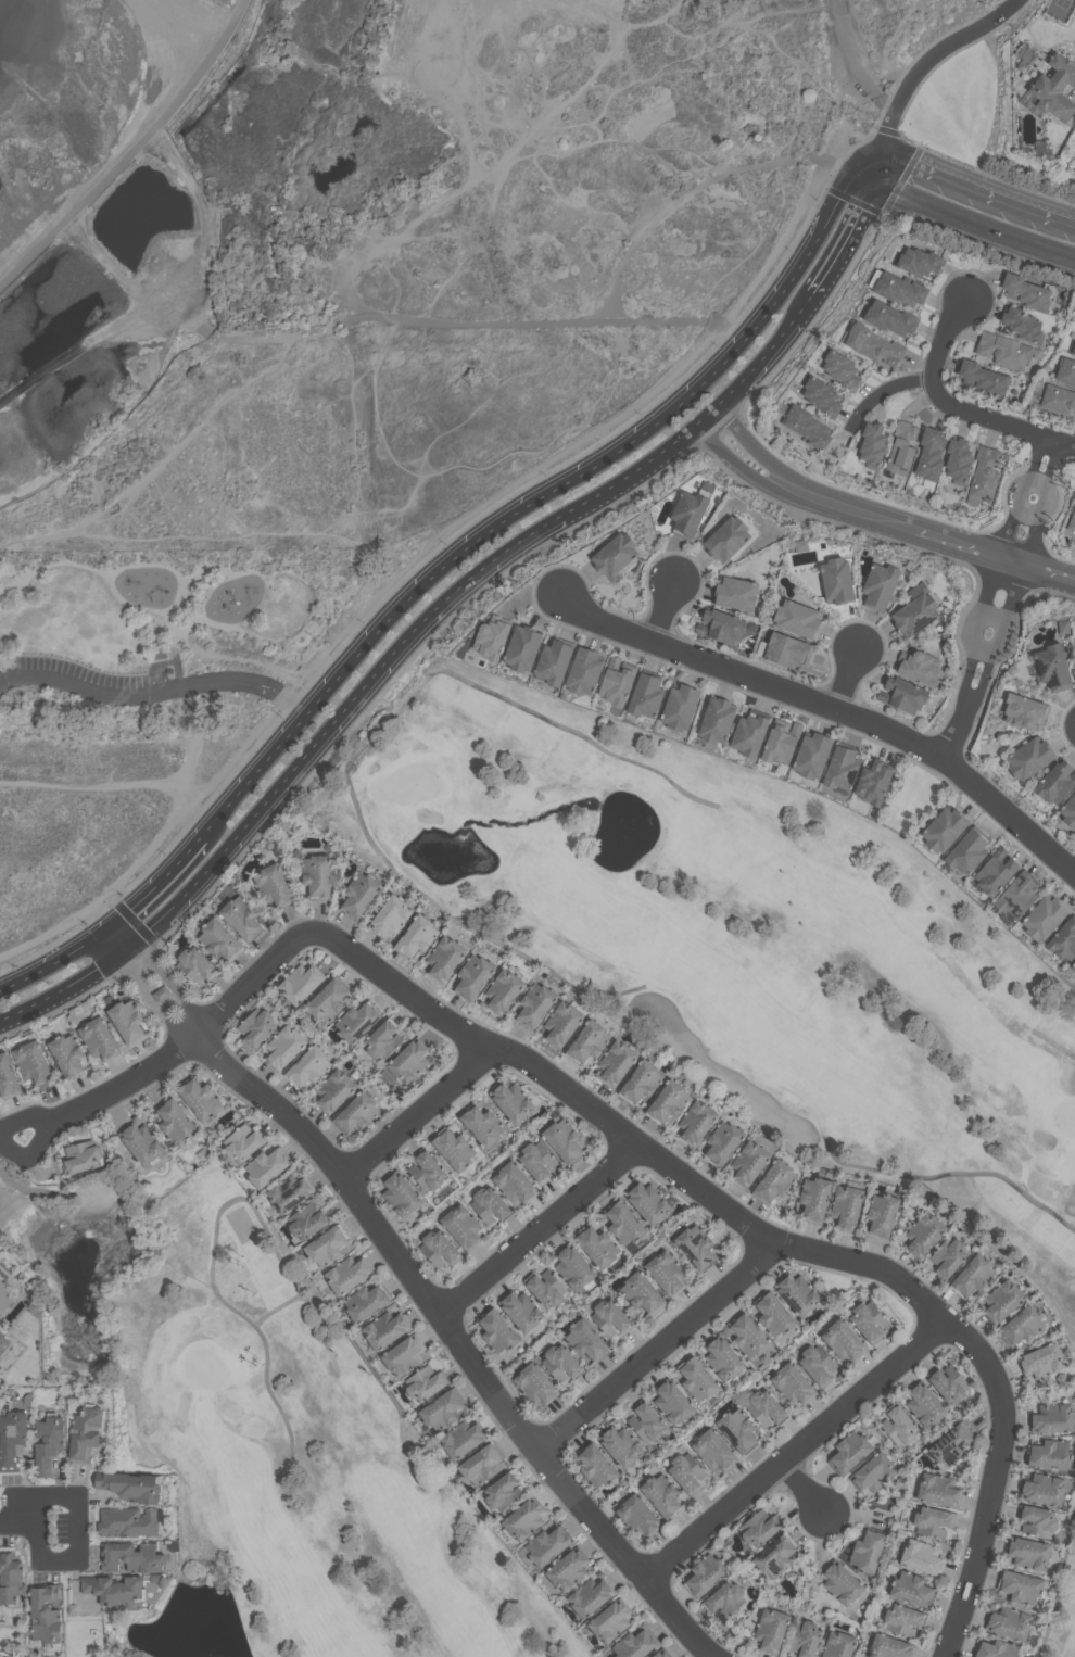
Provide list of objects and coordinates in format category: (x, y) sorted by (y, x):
road: (1012, 8)
road: (179, 27)
road: (233, 27)
road: (890, 46)
road: (923, 68)
road: (189, 90)
building: (1054, 90)
traffic signals: (883, 155)
road: (932, 169)
road: (1027, 206)
road: (79, 208)
road: (959, 218)
road: (850, 225)
building: (919, 261)
building: (900, 288)
building: (1030, 292)
building: (891, 317)
building: (1023, 325)
road: (945, 336)
building: (874, 344)
building: (1073, 345)
building: (1004, 350)
building: (843, 369)
building: (1066, 370)
building: (983, 377)
road: (886, 389)
building: (822, 396)
building: (1058, 397)
road: (998, 420)
building: (807, 426)
building: (873, 444)
building: (901, 445)
road: (1037, 452)
building: (931, 454)
road: (1052, 457)
building: (959, 458)
building: (984, 475)
road: (1028, 477)
road: (1047, 482)
road: (543, 493)
road: (856, 506)
road: (1036, 510)
building: (690, 511)
building: (1072, 521)
road: (1009, 529)
road: (1035, 535)
building: (728, 536)
building: (616, 554)
road: (1051, 569)
building: (838, 581)
building: (881, 584)
building: (737, 593)
road: (446, 597)
road: (666, 608)
building: (915, 614)
road: (992, 617)
building: (798, 618)
road: (1006, 618)
building: (722, 625)
park: (184, 627)
road: (977, 630)
building: (492, 637)
building: (523, 647)
road: (984, 647)
building: (787, 648)
building: (554, 661)
building: (920, 666)
building: (1053, 666)
building: (585, 671)
road: (848, 671)
building: (617, 682)
road: (155, 692)
road: (977, 692)
building: (646, 694)
building: (905, 695)
road: (832, 705)
building: (681, 706)
building: (1026, 710)
building: (718, 720)
road: (954, 730)
building: (749, 734)
building: (782, 743)
building: (812, 755)
building: (1030, 757)
building: (843, 767)
building: (874, 782)
building: (1057, 782)
road: (357, 806)
building: (1070, 810)
building: (945, 828)
building: (967, 850)
building: (996, 871)
building: (317, 873)
building: (275, 884)
road: (153, 885)
building: (361, 893)
building: (1016, 897)
building: (391, 915)
building: (241, 916)
building: (1045, 916)
building: (417, 935)
building: (1063, 938)
road: (112, 939)
building: (220, 939)
park: (735, 943)
building: (445, 957)
road: (52, 960)
building: (195, 964)
building: (1073, 964)
building: (1073, 967)
building: (475, 974)
building: (301, 982)
road: (61, 987)
building: (504, 989)
building: (162, 994)
building: (328, 1000)
building: (535, 1003)
building: (358, 1021)
building: (129, 1022)
building: (562, 1022)
building: (256, 1027)
building: (100, 1037)
building: (382, 1039)
building: (590, 1040)
building: (284, 1046)
building: (68, 1054)
building: (409, 1059)
building: (33, 1061)
building: (618, 1062)
building: (309, 1065)
building: (8, 1077)
building: (642, 1080)
building: (334, 1090)
building: (201, 1099)
building: (514, 1099)
building: (669, 1100)
road: (422, 1109)
building: (357, 1111)
building: (176, 1120)
building: (697, 1122)
building: (483, 1124)
road: (625, 1128)
building: (562, 1139)
building: (142, 1142)
building: (243, 1142)
building: (722, 1142)
building: (455, 1148)
building: (83, 1155)
building: (537, 1161)
building: (748, 1162)
building: (267, 1166)
building: (427, 1169)
building: (772, 1181)
building: (514, 1182)
building: (290, 1192)
building: (401, 1193)
building: (813, 1198)
building: (647, 1202)
building: (489, 1204)
building: (846, 1205)
building: (882, 1214)
building: (308, 1219)
building: (624, 1223)
road: (541, 1225)
building: (464, 1226)
building: (923, 1234)
building: (327, 1244)
building: (440, 1247)
building: (596, 1247)
building: (695, 1247)
building: (947, 1256)
building: (572, 1267)
building: (347, 1273)
building: (666, 1273)
building: (973, 1274)
building: (0, 1276)
building: (546, 1289)
building: (642, 1292)
building: (796, 1293)
road: (430, 1294)
building: (5, 1295)
building: (1000, 1301)
building: (366, 1302)
building: (520, 1311)
building: (773, 1315)
building: (609, 1318)
building: (867, 1320)
building: (1021, 1325)
building: (384, 1329)
building: (498, 1330)
building: (748, 1337)
building: (585, 1340)
building: (843, 1340)
building: (4, 1343)
road: (658, 1344)
building: (405, 1355)
building: (722, 1358)
building: (1040, 1361)
building: (818, 1363)
building: (560, 1364)
building: (698, 1380)
building: (426, 1381)
building: (793, 1383)
building: (949, 1383)
building: (535, 1384)
building: (671, 1402)
building: (924, 1406)
building: (444, 1408)
building: (764, 1408)
building: (1051, 1419)
building: (645, 1421)
building: (897, 1425)
building: (736, 1430)
building: (86, 1431)
building: (463, 1437)
building: (12, 1439)
park: (266, 1440)
building: (49, 1442)
road: (794, 1444)
building: (949, 1445)
building: (620, 1446)
building: (712, 1451)
building: (849, 1452)
building: (1049, 1454)
building: (481, 1463)
building: (597, 1468)
building: (686, 1472)
building: (873, 1473)
road: (806, 1484)
building: (132, 1485)
building: (1042, 1489)
building: (938, 1490)
building: (502, 1492)
road: (47, 1495)
building: (661, 1495)
building: (637, 1517)
building: (522, 1520)
building: (1036, 1520)
building: (128, 1521)
building: (933, 1521)
building: (759, 1529)
building: (547, 1545)
building: (867, 1551)
building: (1028, 1554)
building: (131, 1556)
building: (774, 1556)
building: (922, 1556)
road: (49, 1558)
building: (567, 1569)
building: (704, 1574)
building: (11, 1576)
building: (840, 1582)
building: (1020, 1586)
building: (116, 1588)
building: (910, 1589)
building: (589, 1595)
building: (724, 1598)
park: (1062, 1599)
building: (46, 1611)
building: (609, 1620)
building: (902, 1620)
building: (1008, 1622)
building: (770, 1631)
building: (804, 1639)
building: (634, 1644)
building: (838, 1644)
building: (888, 1647)
building: (995, 1649)
building: (661, 1654)

